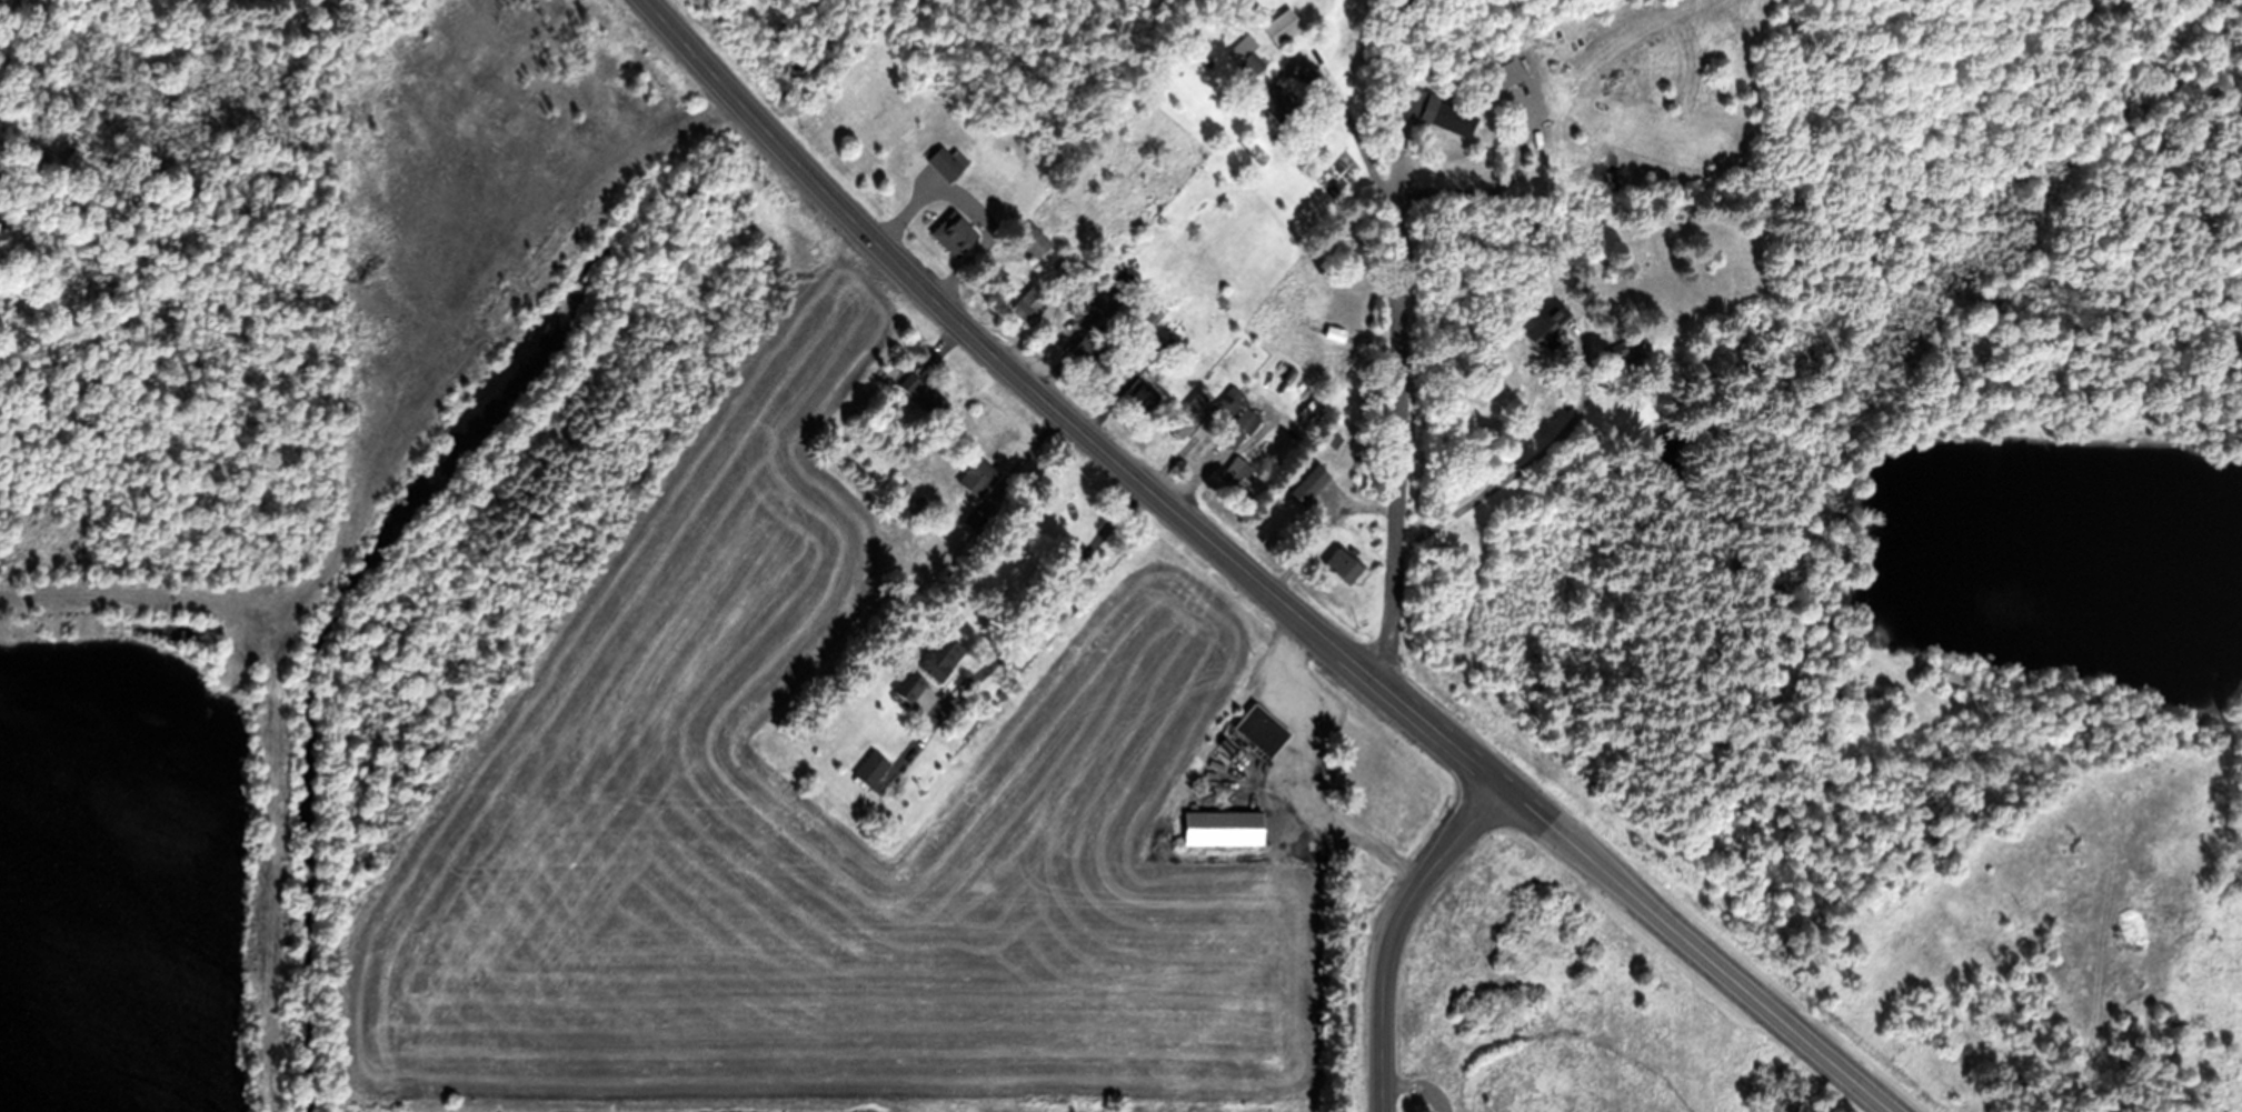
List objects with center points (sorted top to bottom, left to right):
building: (1283, 26)
building: (1247, 53)
building: (1445, 63)
building: (1505, 72)
building: (648, 97)
building: (1275, 99)
building: (1441, 112)
building: (948, 160)
building: (1053, 219)
building: (958, 232)
building: (1034, 238)
building: (1065, 264)
building: (514, 268)
building: (1079, 282)
building: (1096, 298)
building: (1029, 302)
landfill: (161, 305)
building: (1112, 307)
building: (1155, 314)
building: (1547, 322)
building: (1335, 332)
building: (1245, 340)
building: (1145, 342)
building: (1627, 344)
building: (1087, 345)
road: (1004, 357)
building: (1634, 360)
building: (891, 370)
road: (1396, 374)
building: (924, 393)
building: (1371, 393)
building: (1143, 394)
building: (1227, 402)
building: (1190, 412)
building: (866, 417)
building: (1247, 419)
building: (1372, 425)
road: (358, 430)
building: (1233, 433)
building: (1333, 437)
building: (978, 474)
building: (1238, 475)
building: (1309, 482)
building: (907, 485)
building: (917, 509)
building: (974, 518)
building: (968, 548)
building: (1441, 549)
building: (1345, 562)
building: (957, 563)
road: (1039, 623)
building: (935, 661)
building: (1954, 671)
building: (905, 687)
building: (1263, 728)
road: (1443, 734)
landfill: (776, 761)
building: (1267, 764)
building: (871, 767)
building: (1224, 827)
road: (1391, 929)
building: (2131, 932)
road: (1701, 948)

